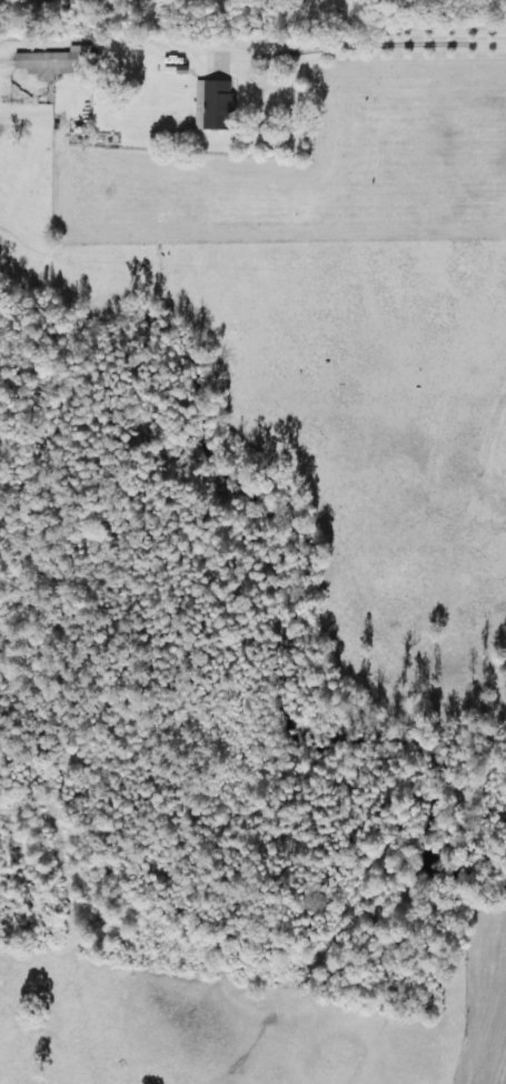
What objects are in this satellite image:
building: (58, 59)
building: (212, 102)

